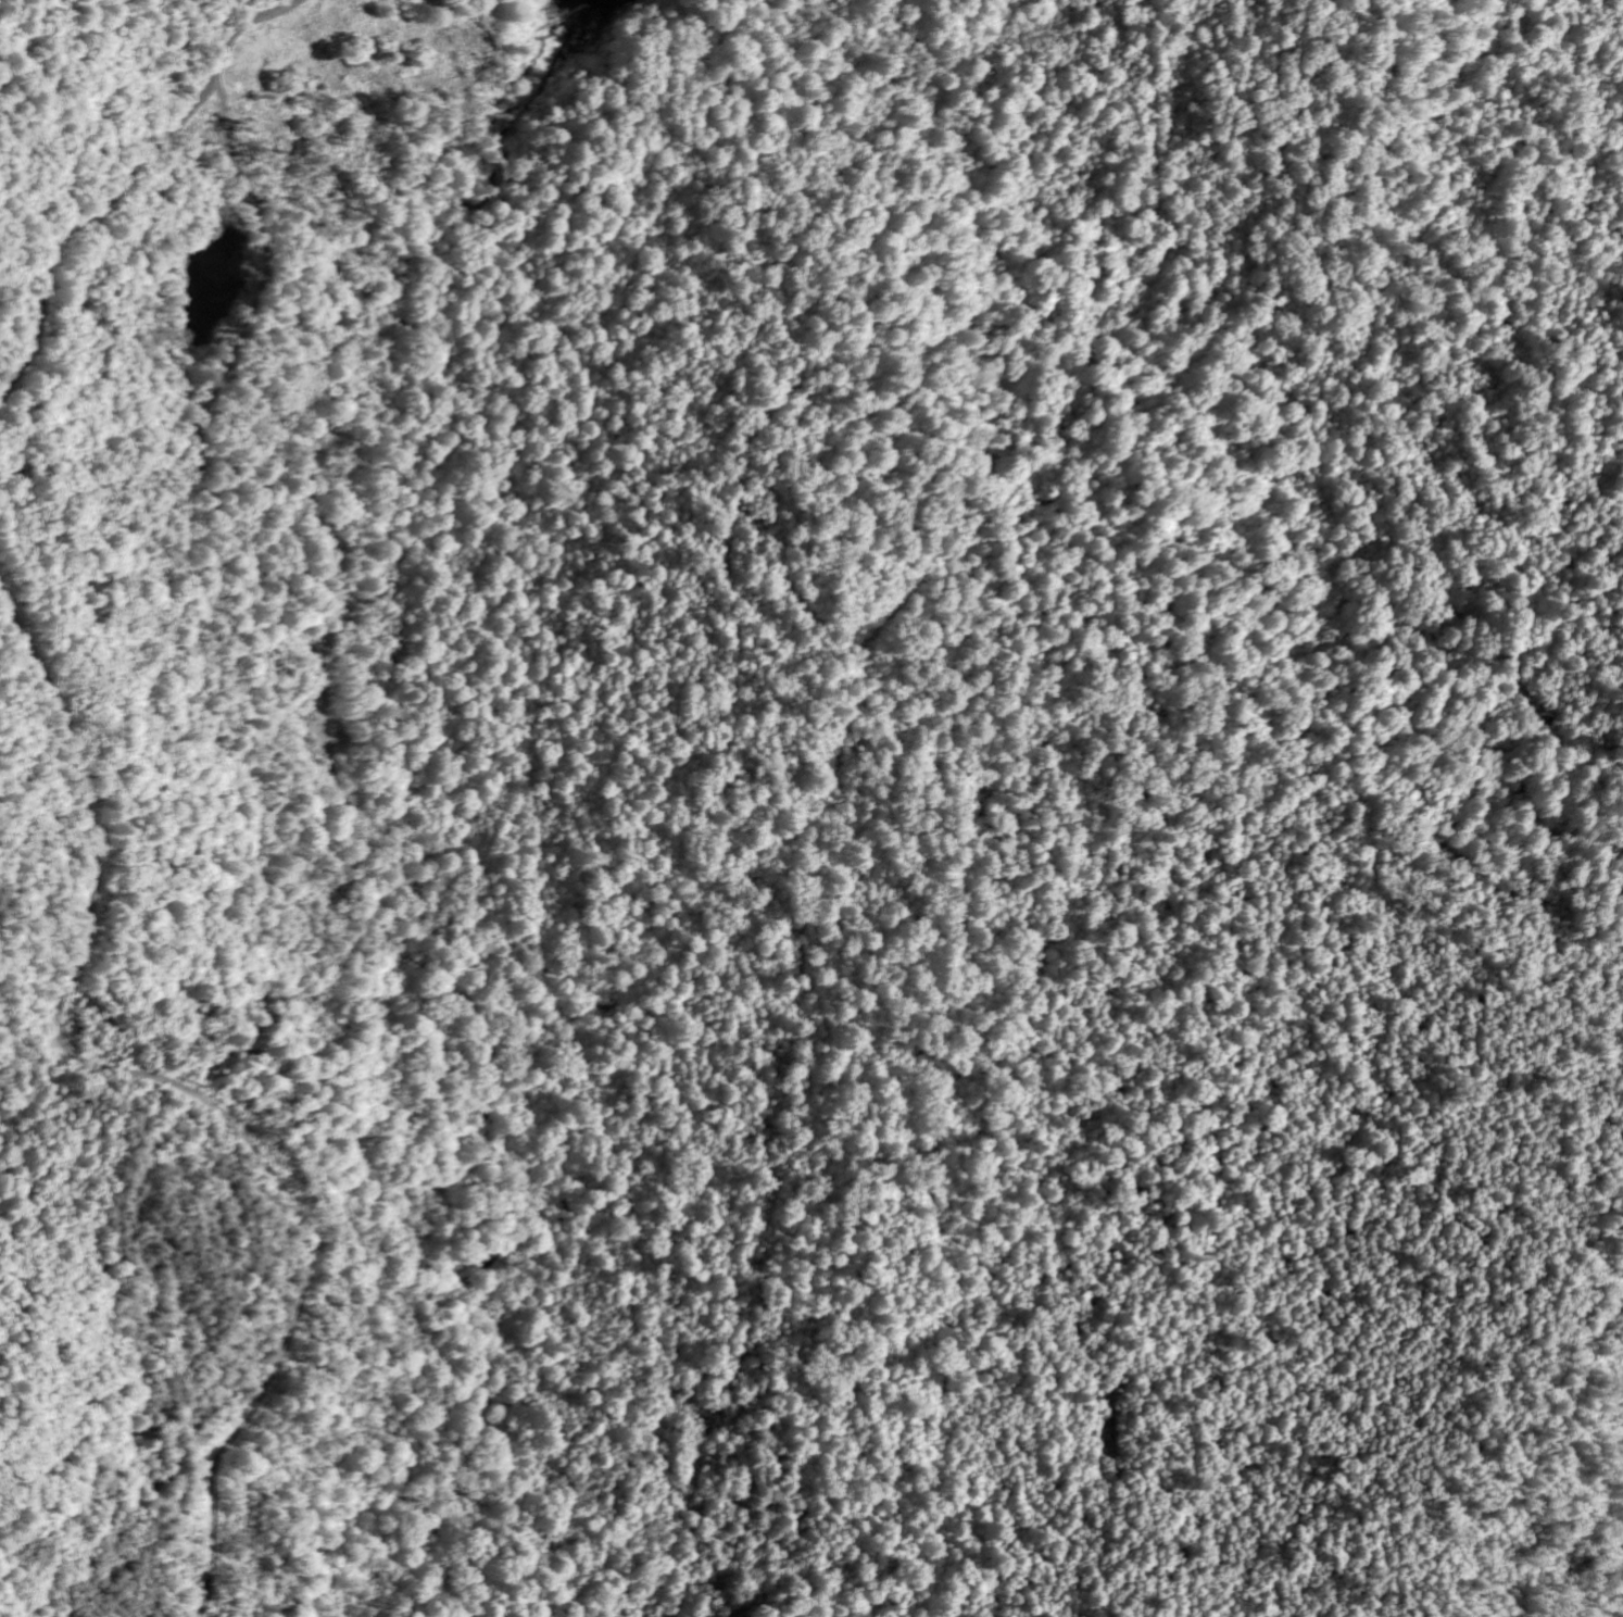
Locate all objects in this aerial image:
road: (275, 9)
road: (81, 220)
road: (209, 501)
road: (177, 1082)

